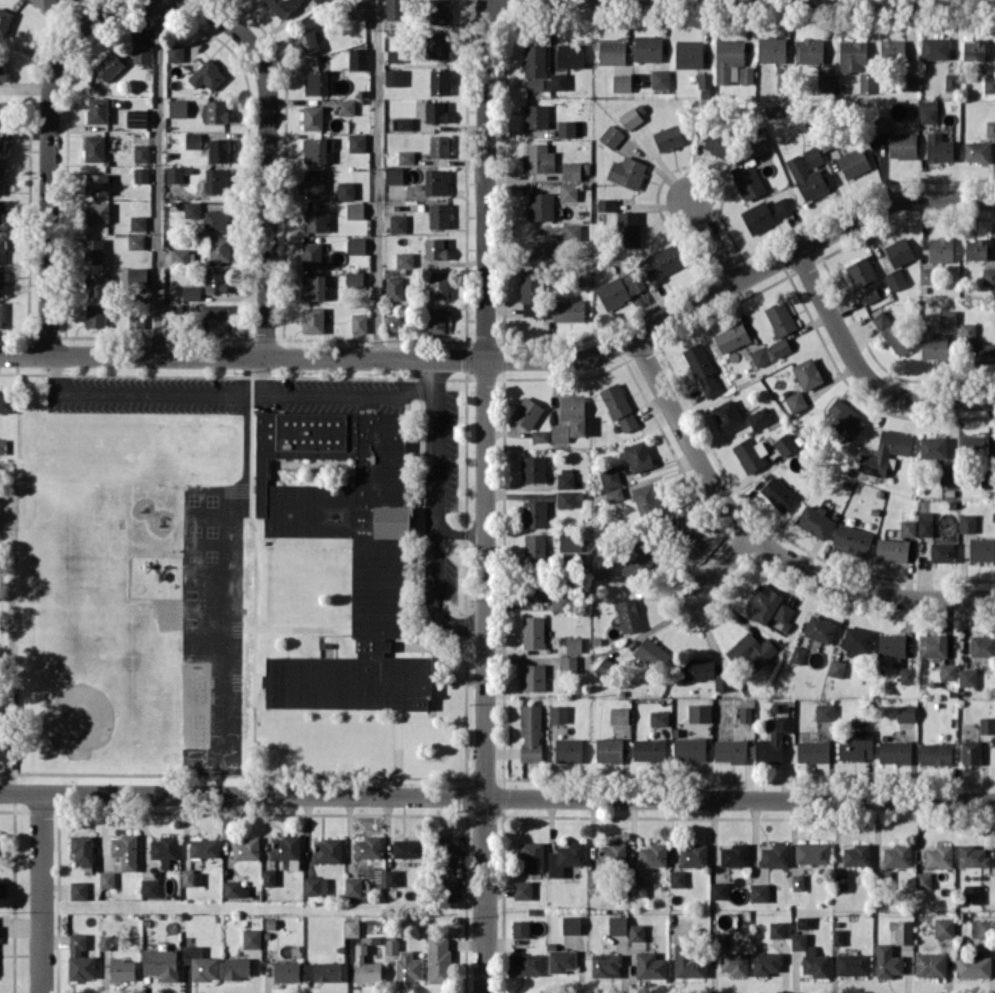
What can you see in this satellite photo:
building: (44, 3)
building: (281, 6)
building: (396, 9)
building: (357, 10)
building: (440, 11)
building: (4, 21)
building: (307, 42)
building: (437, 45)
building: (648, 48)
building: (935, 48)
building: (772, 49)
building: (892, 49)
building: (973, 49)
building: (811, 50)
building: (175, 52)
building: (612, 52)
building: (141, 53)
building: (689, 54)
building: (395, 55)
building: (570, 55)
building: (853, 56)
building: (728, 58)
building: (358, 59)
building: (109, 65)
building: (534, 67)
building: (2, 70)
building: (207, 75)
building: (745, 75)
building: (394, 77)
building: (660, 78)
building: (559, 81)
building: (951, 81)
building: (316, 82)
building: (440, 82)
building: (622, 82)
building: (826, 82)
building: (868, 82)
building: (909, 82)
building: (705, 85)
building: (989, 85)
building: (346, 107)
building: (178, 108)
building: (97, 110)
building: (215, 110)
building: (436, 111)
building: (928, 111)
building: (2, 113)
building: (536, 116)
building: (312, 117)
building: (630, 117)
building: (136, 118)
building: (402, 123)
building: (881, 123)
building: (566, 128)
building: (990, 128)
building: (611, 136)
building: (668, 137)
building: (192, 140)
building: (356, 142)
road: (48, 144)
building: (718, 144)
building: (902, 145)
building: (439, 146)
road: (265, 147)
building: (757, 147)
building: (2, 148)
building: (94, 148)
building: (939, 148)
building: (317, 149)
building: (219, 150)
building: (977, 152)
building: (141, 153)
building: (813, 156)
building: (406, 157)
building: (538, 158)
building: (853, 162)
building: (576, 170)
building: (627, 172)
building: (175, 174)
building: (141, 175)
building: (394, 175)
building: (810, 178)
building: (2, 179)
road: (378, 179)
road: (159, 180)
building: (217, 180)
building: (313, 181)
building: (436, 181)
building: (748, 182)
building: (98, 184)
building: (346, 190)
building: (568, 191)
building: (606, 204)
building: (541, 206)
building: (782, 207)
building: (192, 209)
building: (1, 210)
building: (355, 210)
building: (97, 211)
building: (439, 215)
building: (757, 217)
building: (216, 220)
building: (316, 220)
building: (138, 222)
building: (398, 223)
building: (627, 229)
building: (571, 231)
road: (711, 239)
building: (135, 241)
building: (356, 244)
building: (544, 245)
building: (436, 248)
building: (219, 249)
building: (940, 249)
building: (976, 249)
building: (1, 250)
building: (93, 250)
building: (899, 252)
building: (311, 254)
building: (182, 256)
building: (405, 259)
building: (664, 263)
building: (137, 275)
building: (927, 275)
building: (988, 276)
building: (355, 278)
building: (895, 278)
building: (864, 279)
building: (215, 281)
building: (2, 283)
building: (439, 284)
building: (97, 286)
building: (314, 287)
building: (394, 288)
building: (620, 289)
building: (191, 293)
building: (531, 293)
building: (568, 310)
building: (1, 314)
building: (95, 315)
building: (214, 317)
building: (780, 318)
building: (948, 318)
building: (136, 319)
building: (313, 320)
building: (436, 320)
building: (359, 323)
building: (393, 323)
building: (967, 330)
building: (891, 333)
building: (731, 337)
building: (780, 347)
building: (934, 348)
building: (983, 352)
building: (760, 356)
road: (516, 358)
building: (702, 369)
road: (862, 372)
building: (807, 373)
road: (263, 375)
parking lot: (143, 393)
road: (226, 393)
parking lot: (330, 394)
building: (6, 401)
building: (795, 401)
building: (619, 406)
building: (527, 412)
building: (727, 415)
building: (759, 417)
building: (845, 418)
building: (559, 433)
building: (539, 435)
building: (785, 444)
building: (973, 445)
building: (3, 446)
building: (933, 447)
parking lot: (440, 450)
building: (885, 452)
building: (750, 454)
park: (92, 456)
building: (638, 456)
building: (533, 468)
building: (948, 474)
building: (566, 477)
building: (609, 477)
building: (778, 493)
building: (614, 494)
road: (485, 496)
building: (565, 498)
building: (646, 499)
road: (434, 511)
building: (534, 514)
building: (815, 520)
building: (925, 523)
building: (967, 523)
building: (908, 528)
building: (685, 532)
road: (460, 533)
building: (852, 540)
building: (570, 541)
road: (761, 542)
building: (534, 548)
building: (892, 549)
building: (982, 549)
building: (943, 552)
building: (638, 563)
road: (723, 565)
parking lot: (439, 568)
road: (12, 574)
road: (254, 574)
building: (378, 583)
building: (763, 602)
building: (560, 603)
building: (628, 615)
road: (419, 621)
road: (303, 626)
building: (820, 628)
building: (533, 632)
road: (447, 633)
building: (858, 639)
road: (345, 642)
building: (573, 644)
building: (933, 645)
building: (892, 646)
building: (982, 646)
building: (751, 650)
building: (653, 653)
building: (797, 654)
building: (568, 664)
road: (447, 665)
building: (605, 667)
building: (837, 668)
building: (947, 671)
building: (703, 672)
road: (432, 675)
building: (907, 675)
building: (967, 676)
building: (533, 677)
road: (459, 681)
building: (699, 712)
building: (824, 712)
building: (558, 713)
building: (906, 713)
building: (745, 714)
building: (619, 715)
park: (80, 718)
building: (659, 718)
building: (1, 723)
building: (987, 724)
building: (530, 732)
building: (772, 741)
building: (2, 746)
building: (856, 746)
building: (689, 748)
building: (608, 749)
building: (649, 749)
building: (568, 750)
building: (730, 750)
road: (397, 751)
building: (813, 751)
building: (970, 751)
building: (894, 752)
building: (935, 753)
road: (553, 764)
road: (497, 795)
building: (1, 841)
building: (203, 847)
building: (368, 847)
building: (407, 848)
building: (82, 849)
building: (164, 849)
building: (245, 849)
building: (125, 850)
building: (287, 850)
building: (327, 851)
building: (447, 851)
building: (612, 852)
building: (812, 852)
building: (693, 854)
building: (856, 854)
building: (532, 855)
building: (652, 855)
building: (734, 855)
building: (774, 855)
building: (897, 855)
building: (939, 856)
building: (972, 856)
building: (565, 858)
building: (191, 877)
building: (269, 877)
building: (392, 877)
building: (593, 878)
building: (677, 878)
building: (107, 879)
building: (923, 880)
building: (797, 882)
building: (840, 882)
building: (315, 886)
building: (353, 886)
building: (149, 887)
building: (637, 887)
building: (3, 888)
building: (231, 888)
building: (522, 889)
building: (78, 890)
building: (449, 890)
building: (718, 890)
road: (41, 892)
building: (759, 892)
building: (971, 893)
building: (803, 922)
building: (571, 924)
building: (617, 924)
building: (944, 927)
building: (351, 928)
building: (520, 928)
building: (776, 929)
building: (981, 929)
building: (902, 930)
building: (636, 932)
building: (837, 936)
building: (251, 938)
building: (717, 940)
building: (391, 946)
building: (810, 956)
building: (80, 958)
building: (438, 958)
building: (561, 960)
building: (688, 961)
building: (887, 961)
building: (161, 963)
building: (200, 963)
building: (734, 963)
building: (766, 963)
building: (526, 964)
building: (852, 964)
building: (930, 964)
building: (650, 965)
building: (974, 965)
building: (605, 966)
building: (236, 967)
building: (366, 967)
building: (408, 967)
building: (122, 970)
building: (286, 971)
building: (322, 971)

